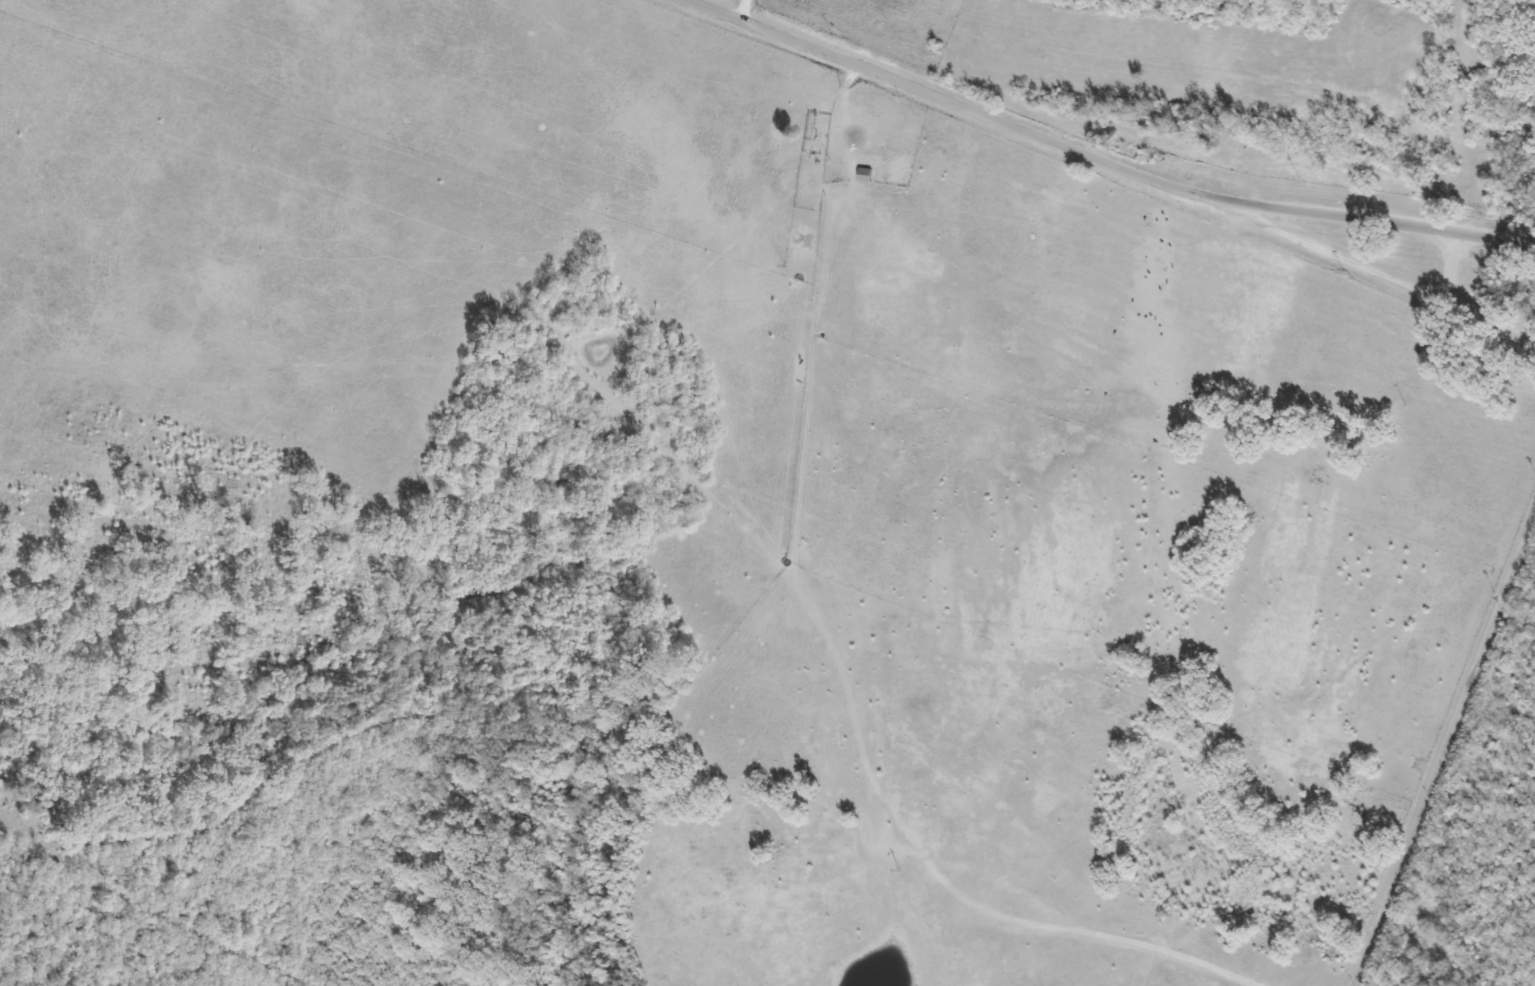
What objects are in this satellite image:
road: (1088, 155)
building: (862, 175)
road: (1526, 241)
road: (1457, 302)
road: (1440, 742)

